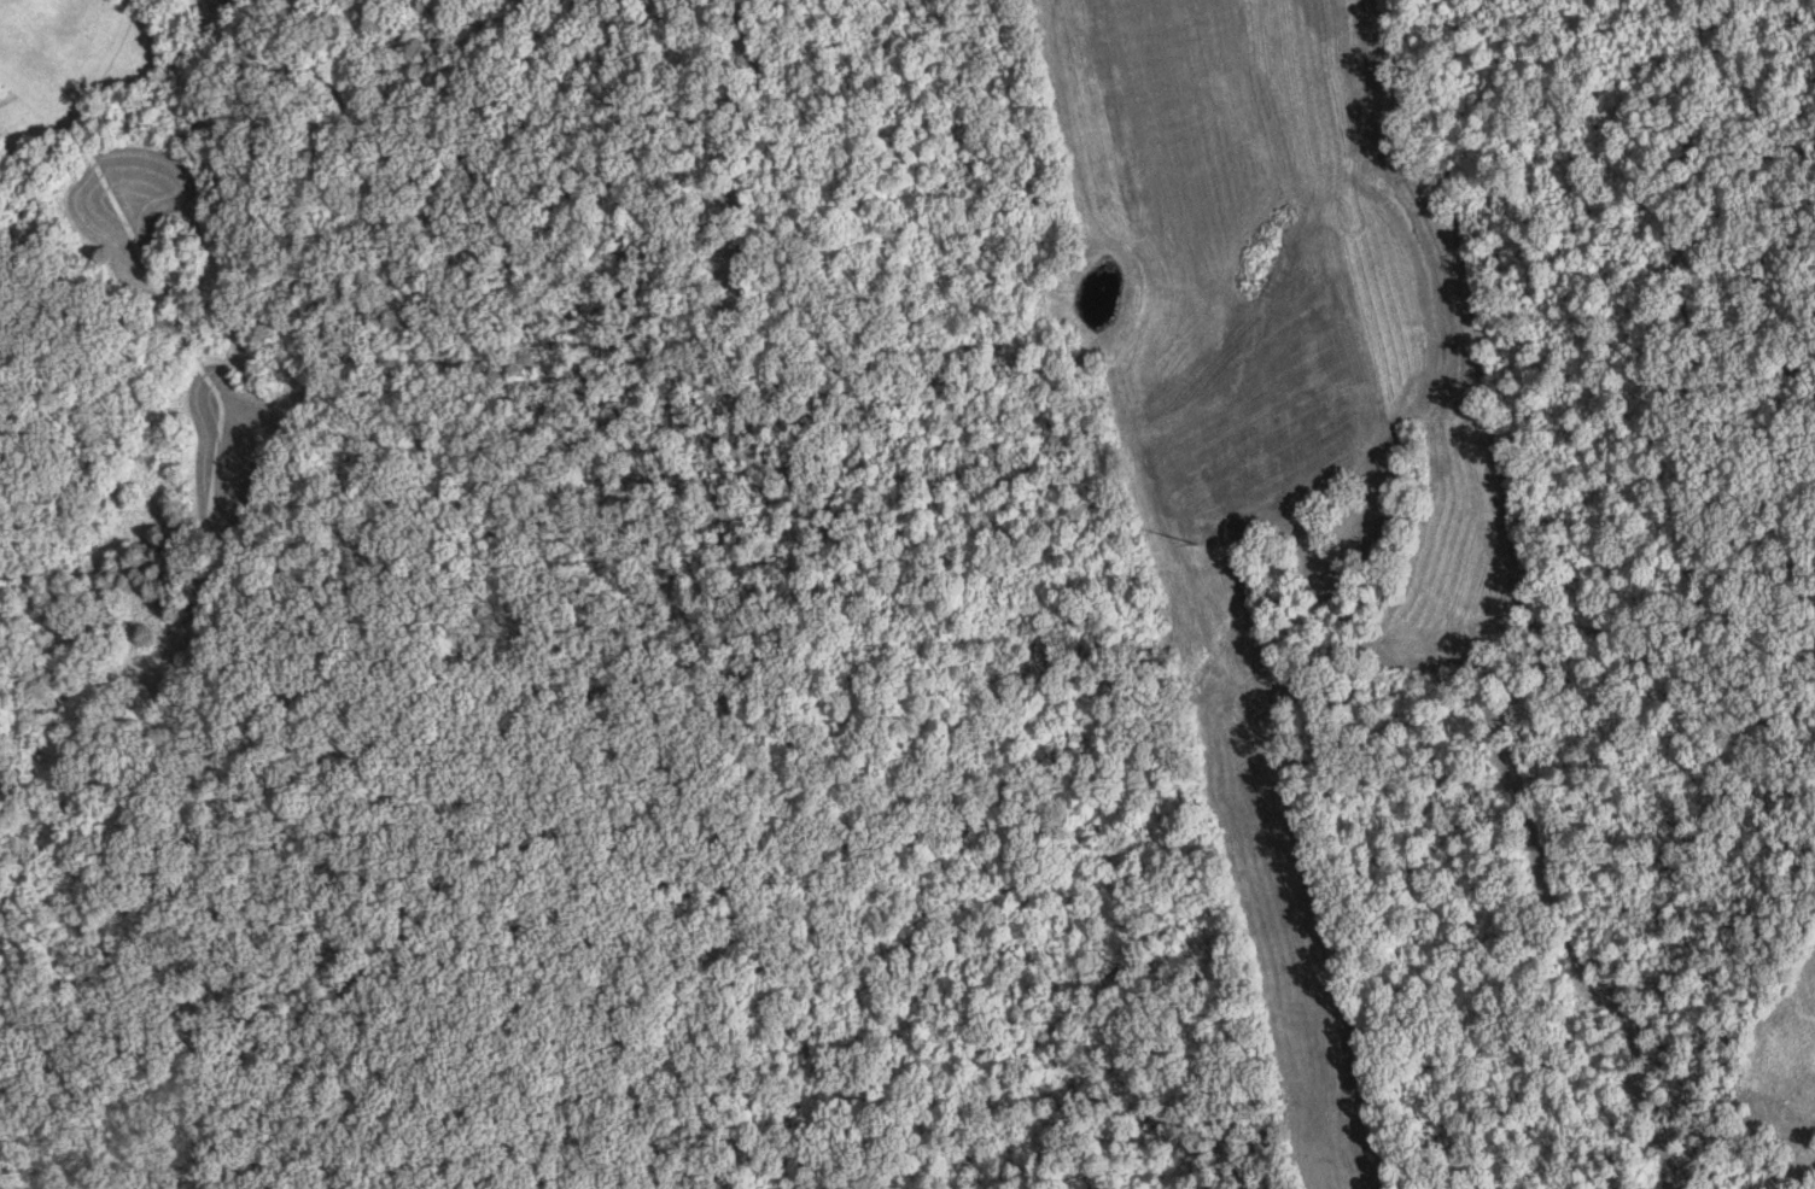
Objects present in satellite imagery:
road: (1794, 1179)

